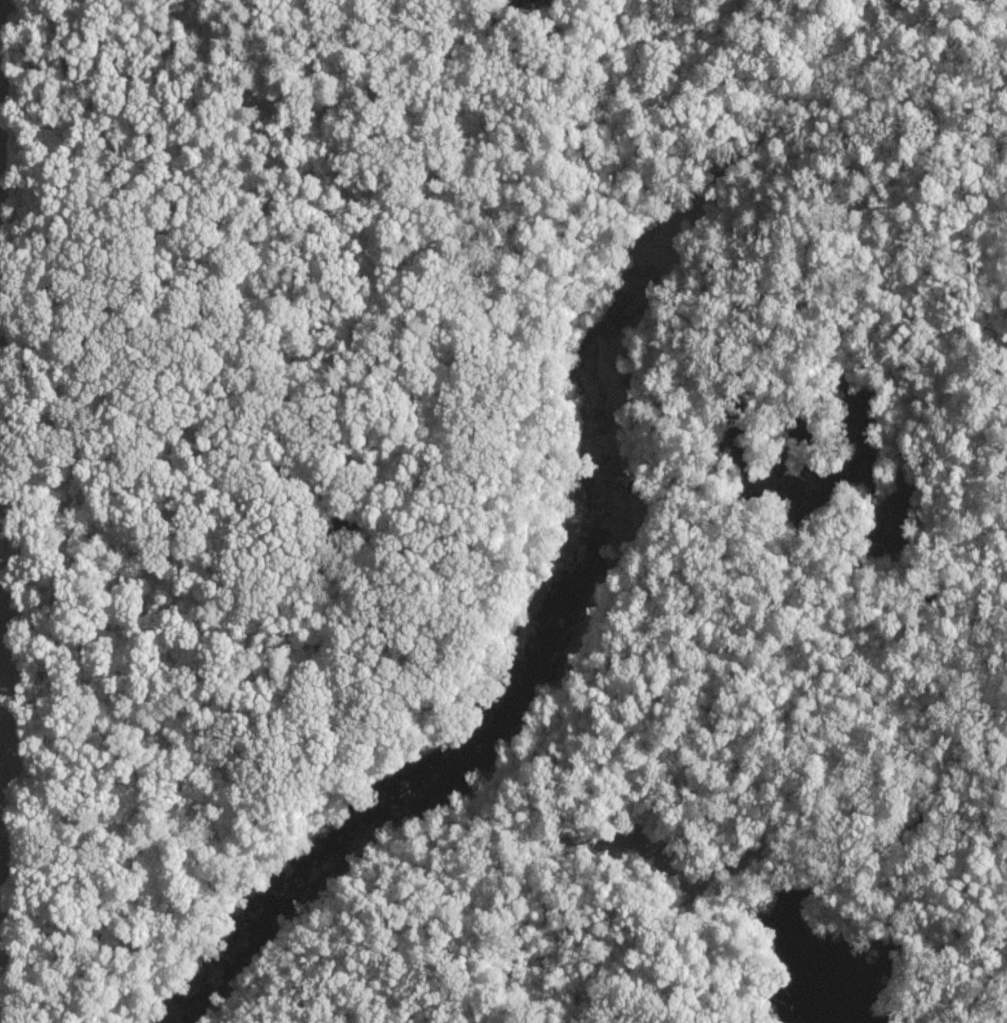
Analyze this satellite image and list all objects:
road: (780, 439)

